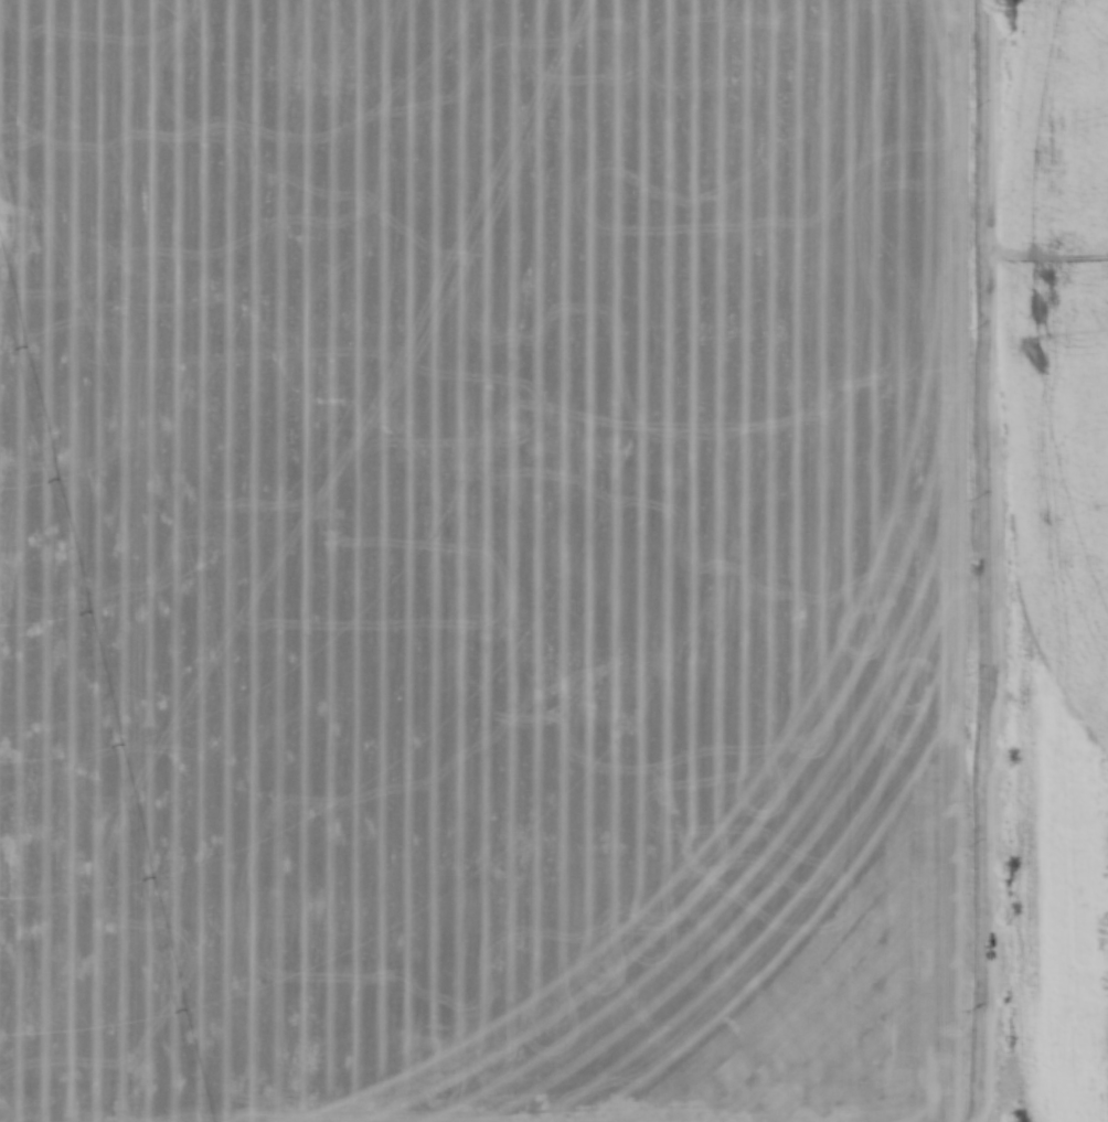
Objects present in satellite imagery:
road: (992, 560)

